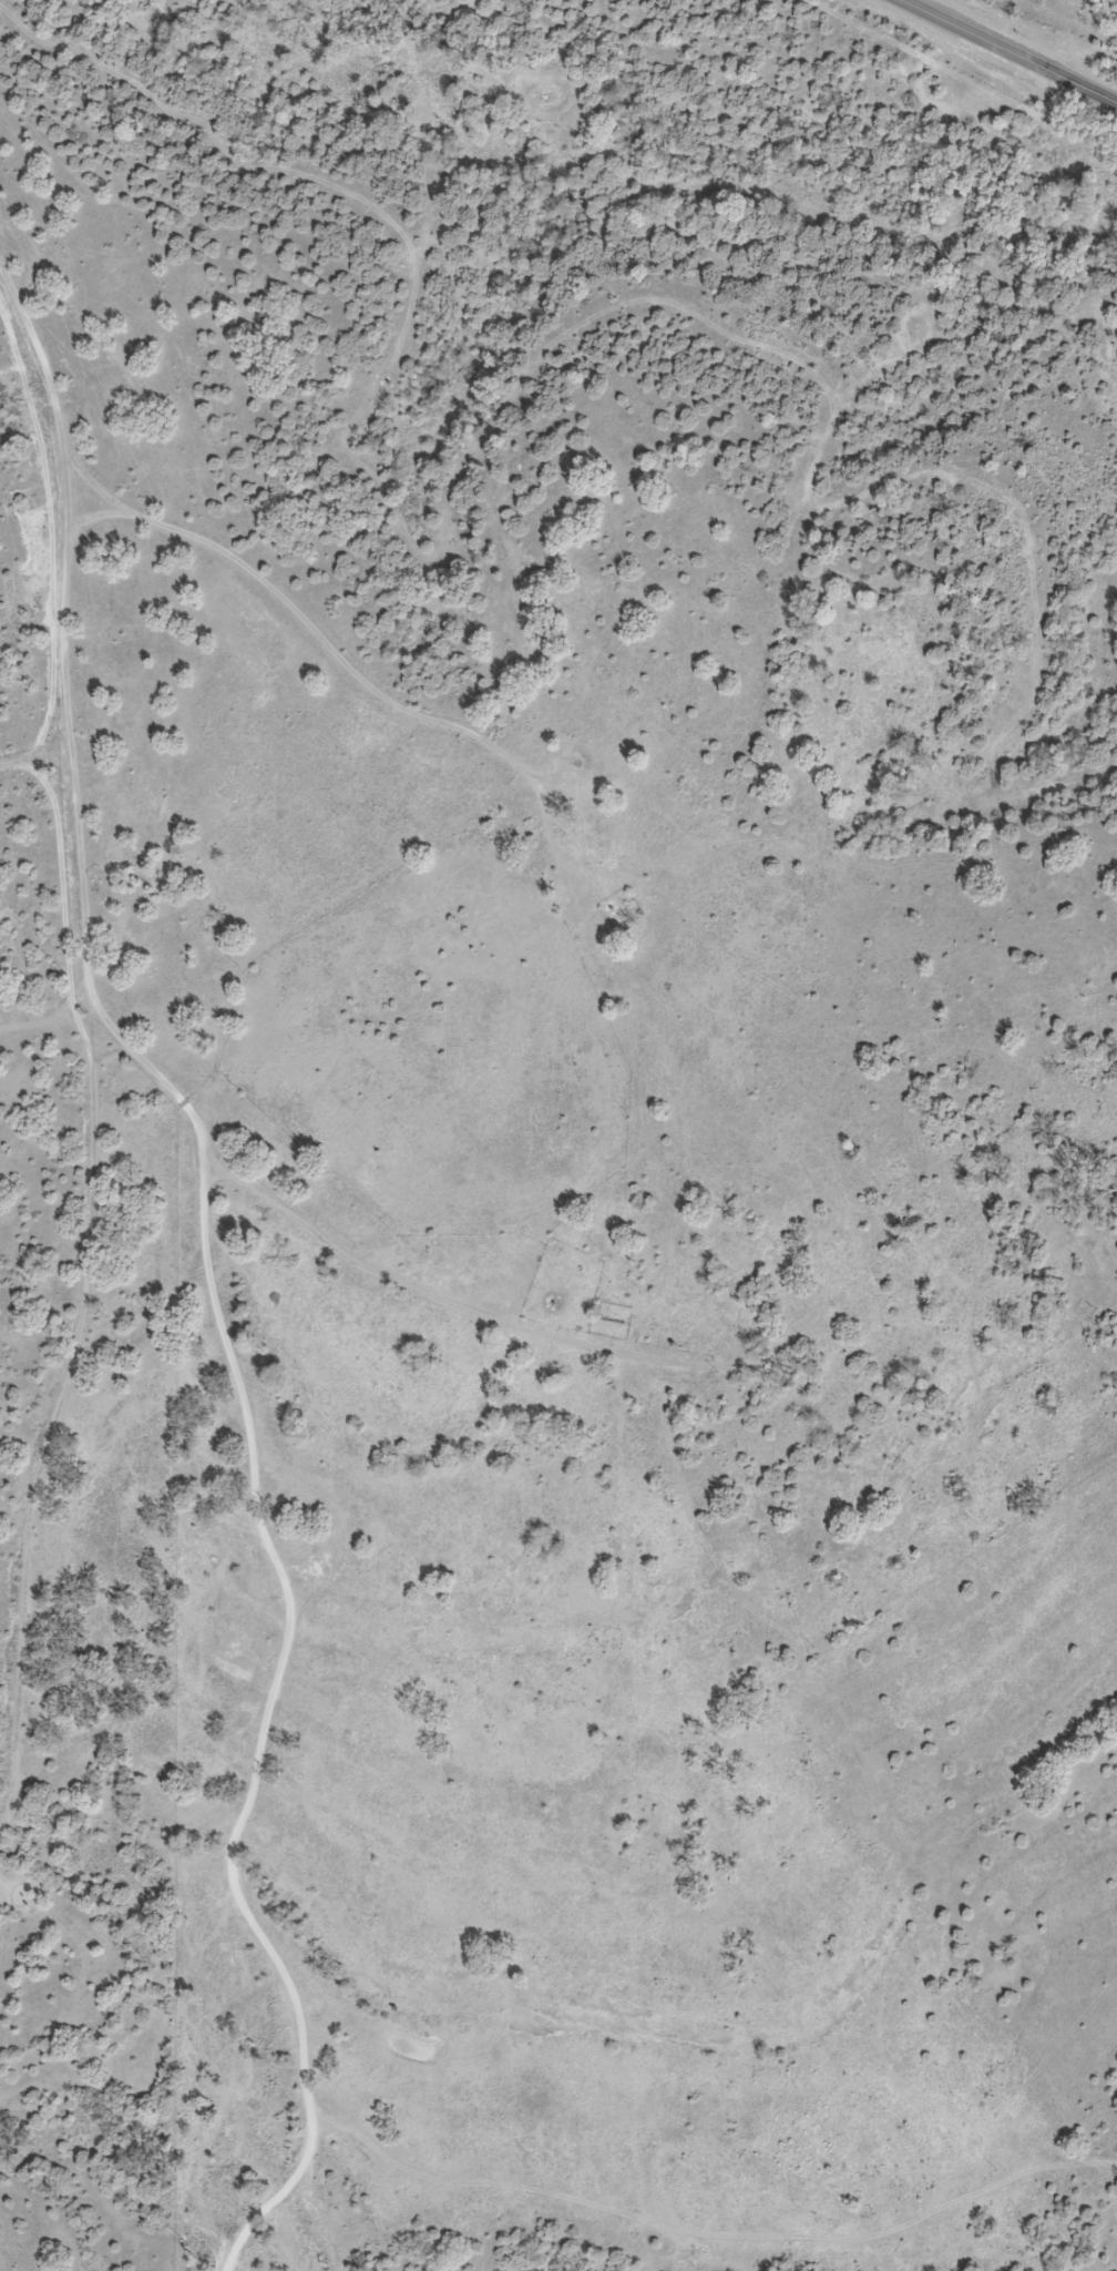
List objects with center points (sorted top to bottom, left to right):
road: (1011, 50)
road: (307, 631)
road: (14, 778)
road: (32, 899)
road: (648, 1357)

